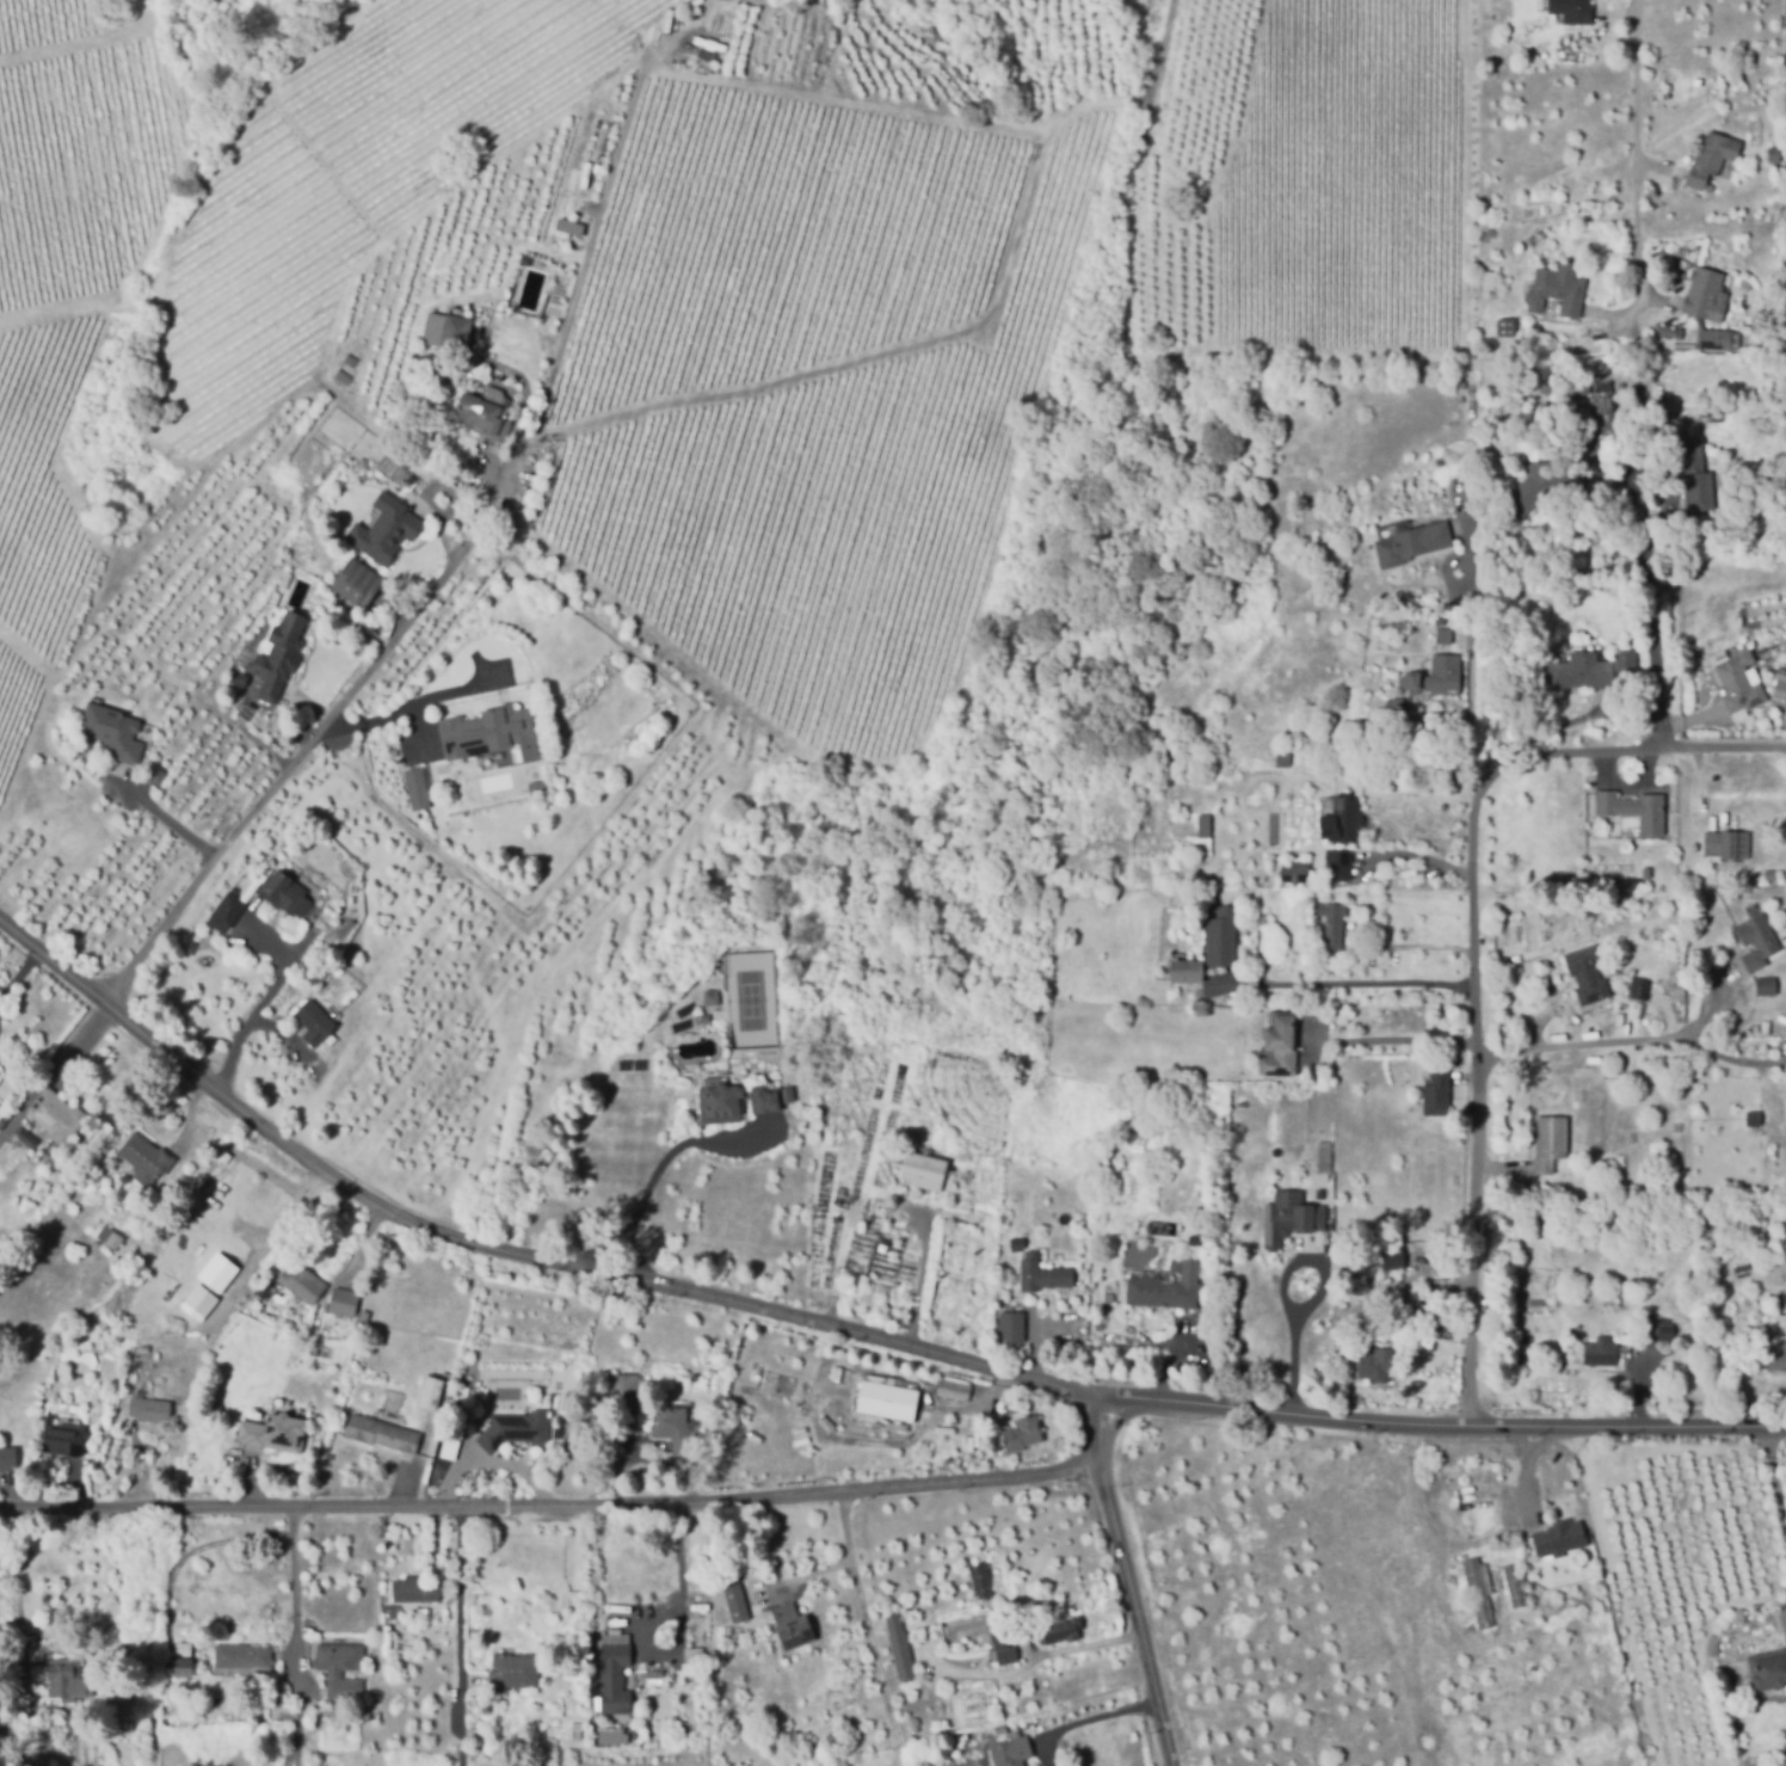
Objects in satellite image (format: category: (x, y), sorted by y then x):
building: (1576, 11)
building: (716, 32)
building: (1711, 158)
road: (591, 240)
building: (1491, 282)
building: (1558, 291)
building: (1705, 295)
building: (1655, 326)
building: (1504, 327)
building: (456, 333)
building: (1669, 333)
building: (1587, 336)
building: (1714, 338)
building: (1495, 351)
road: (1632, 374)
building: (1652, 387)
building: (1605, 407)
building: (485, 417)
building: (1696, 479)
building: (1531, 493)
building: (388, 529)
building: (1412, 543)
building: (359, 583)
building: (1445, 636)
building: (281, 657)
building: (1622, 663)
building: (1579, 673)
building: (1436, 676)
building: (241, 678)
building: (1388, 682)
building: (1735, 684)
road: (1468, 685)
building: (1781, 688)
building: (1396, 706)
road: (411, 708)
building: (245, 709)
building: (492, 730)
building: (112, 731)
road: (315, 739)
building: (1283, 761)
building: (154, 774)
building: (538, 781)
building: (417, 787)
building: (1634, 811)
building: (1343, 819)
road: (165, 824)
building: (1205, 825)
building: (1739, 837)
building: (1713, 842)
building: (1339, 864)
road: (1424, 864)
building: (1648, 872)
building: (1295, 873)
building: (1769, 874)
building: (285, 893)
building: (229, 910)
building: (1265, 921)
building: (1334, 924)
building: (1221, 937)
building: (1759, 941)
road: (1476, 949)
road: (287, 964)
building: (1187, 971)
building: (1588, 974)
road: (1351, 980)
building: (1768, 983)
building: (1639, 987)
building: (712, 996)
building: (1380, 1007)
building: (703, 1019)
building: (1367, 1019)
building: (315, 1022)
building: (1767, 1027)
road: (246, 1033)
building: (1285, 1039)
road: (1400, 1041)
road: (1584, 1045)
building: (64, 1050)
building: (0, 1069)
building: (0, 1072)
building: (1185, 1075)
building: (1437, 1091)
building: (770, 1100)
building: (720, 1101)
building: (1380, 1107)
building: (1751, 1118)
building: (56, 1120)
building: (26, 1138)
building: (1551, 1143)
building: (1325, 1156)
building: (147, 1158)
road: (663, 1169)
building: (926, 1170)
building: (842, 1190)
building: (1292, 1217)
building: (1350, 1222)
building: (1393, 1222)
building: (111, 1236)
building: (1018, 1244)
road: (509, 1250)
building: (1424, 1257)
building: (1176, 1266)
building: (1042, 1273)
road: (922, 1281)
building: (298, 1282)
building: (1377, 1282)
building: (1169, 1290)
building: (1423, 1302)
building: (345, 1303)
building: (364, 1315)
building: (1012, 1328)
building: (1657, 1330)
building: (1600, 1354)
building: (1776, 1359)
building: (1373, 1362)
road: (1293, 1366)
building: (446, 1377)
building: (630, 1385)
building: (955, 1389)
building: (429, 1392)
building: (777, 1401)
building: (950, 1404)
building: (1011, 1408)
building: (149, 1409)
building: (216, 1409)
building: (899, 1410)
building: (517, 1428)
road: (1445, 1429)
building: (676, 1430)
building: (275, 1432)
building: (383, 1432)
building: (1023, 1434)
building: (64, 1439)
building: (451, 1444)
building: (8, 1458)
road: (1523, 1476)
road: (1776, 1479)
road: (552, 1508)
building: (1560, 1538)
road: (679, 1575)
building: (983, 1580)
road: (806, 1583)
road: (1128, 1583)
building: (1515, 1585)
building: (418, 1588)
building: (565, 1590)
building: (1480, 1592)
building: (738, 1600)
building: (392, 1611)
building: (178, 1623)
building: (793, 1625)
building: (1063, 1630)
road: (867, 1631)
road: (295, 1636)
road: (457, 1638)
building: (389, 1639)
building: (900, 1645)
building: (1008, 1655)
building: (247, 1659)
building: (184, 1667)
building: (1768, 1669)
building: (515, 1672)
building: (334, 1673)
building: (66, 1679)
building: (615, 1679)
building: (365, 1716)
building: (376, 1716)
road: (1086, 1724)
building: (577, 1730)
building: (589, 1733)
building: (612, 1736)
building: (1006, 1753)

